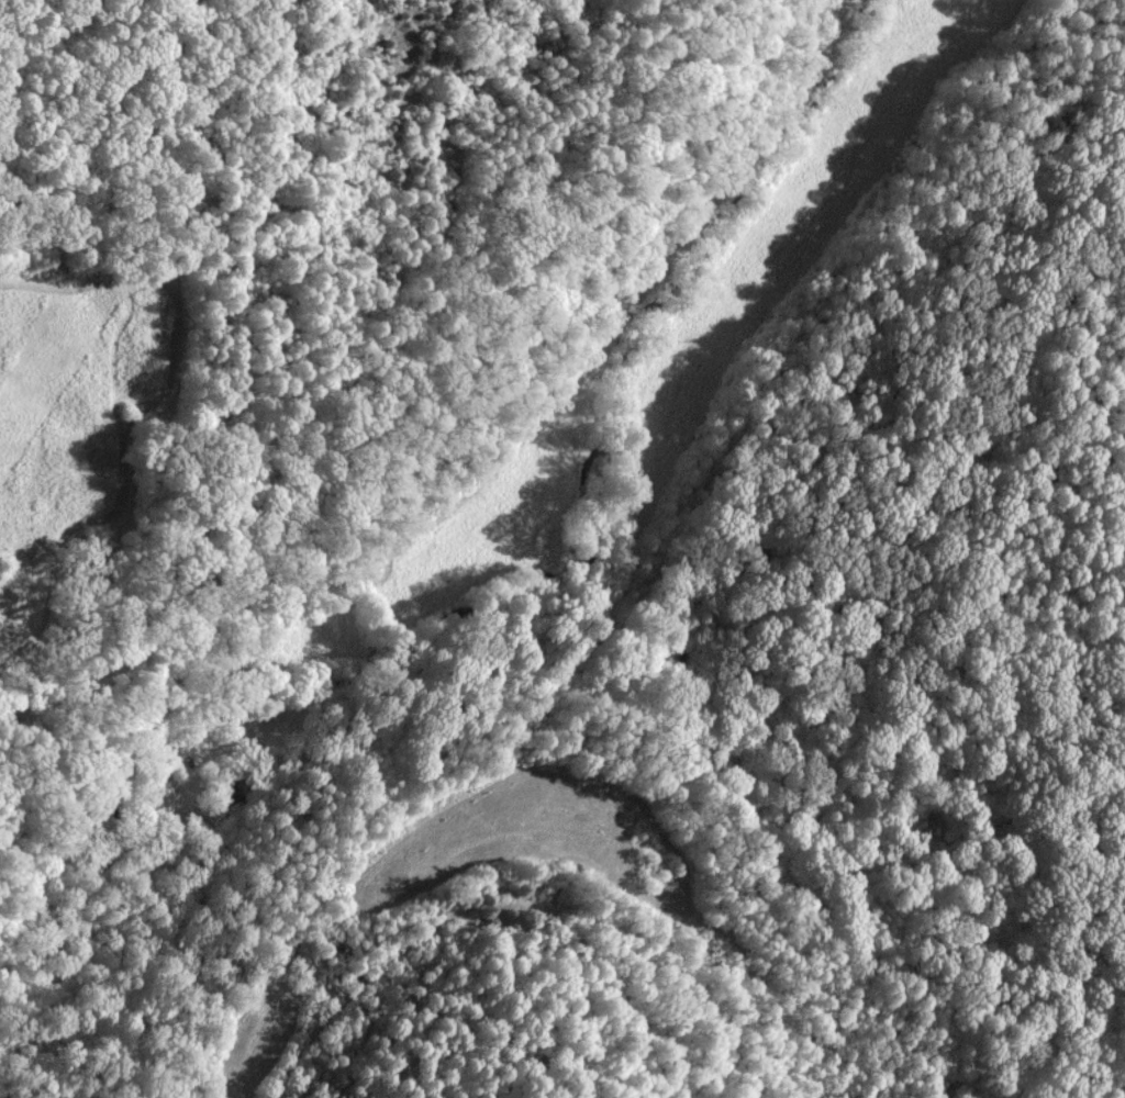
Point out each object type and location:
road: (664, 259)
road: (324, 580)
road: (135, 642)
building: (157, 798)

